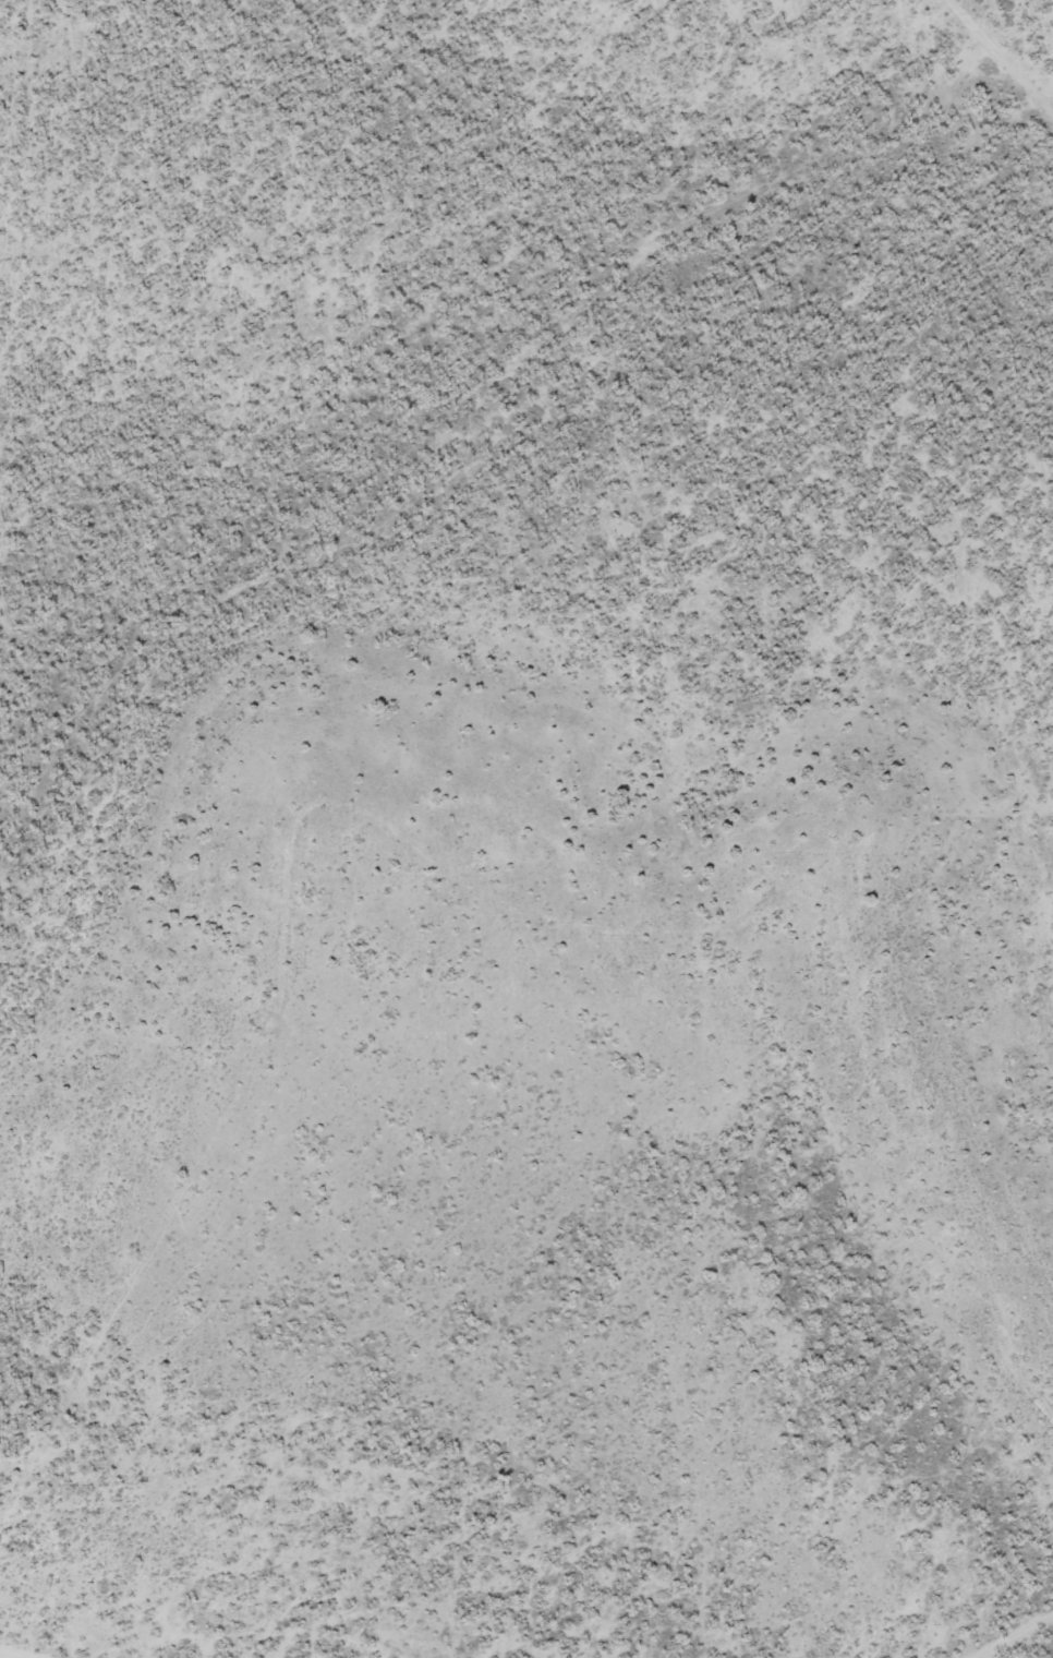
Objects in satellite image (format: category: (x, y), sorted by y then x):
road: (1003, 55)
road: (1015, 1636)
road: (16, 1654)

